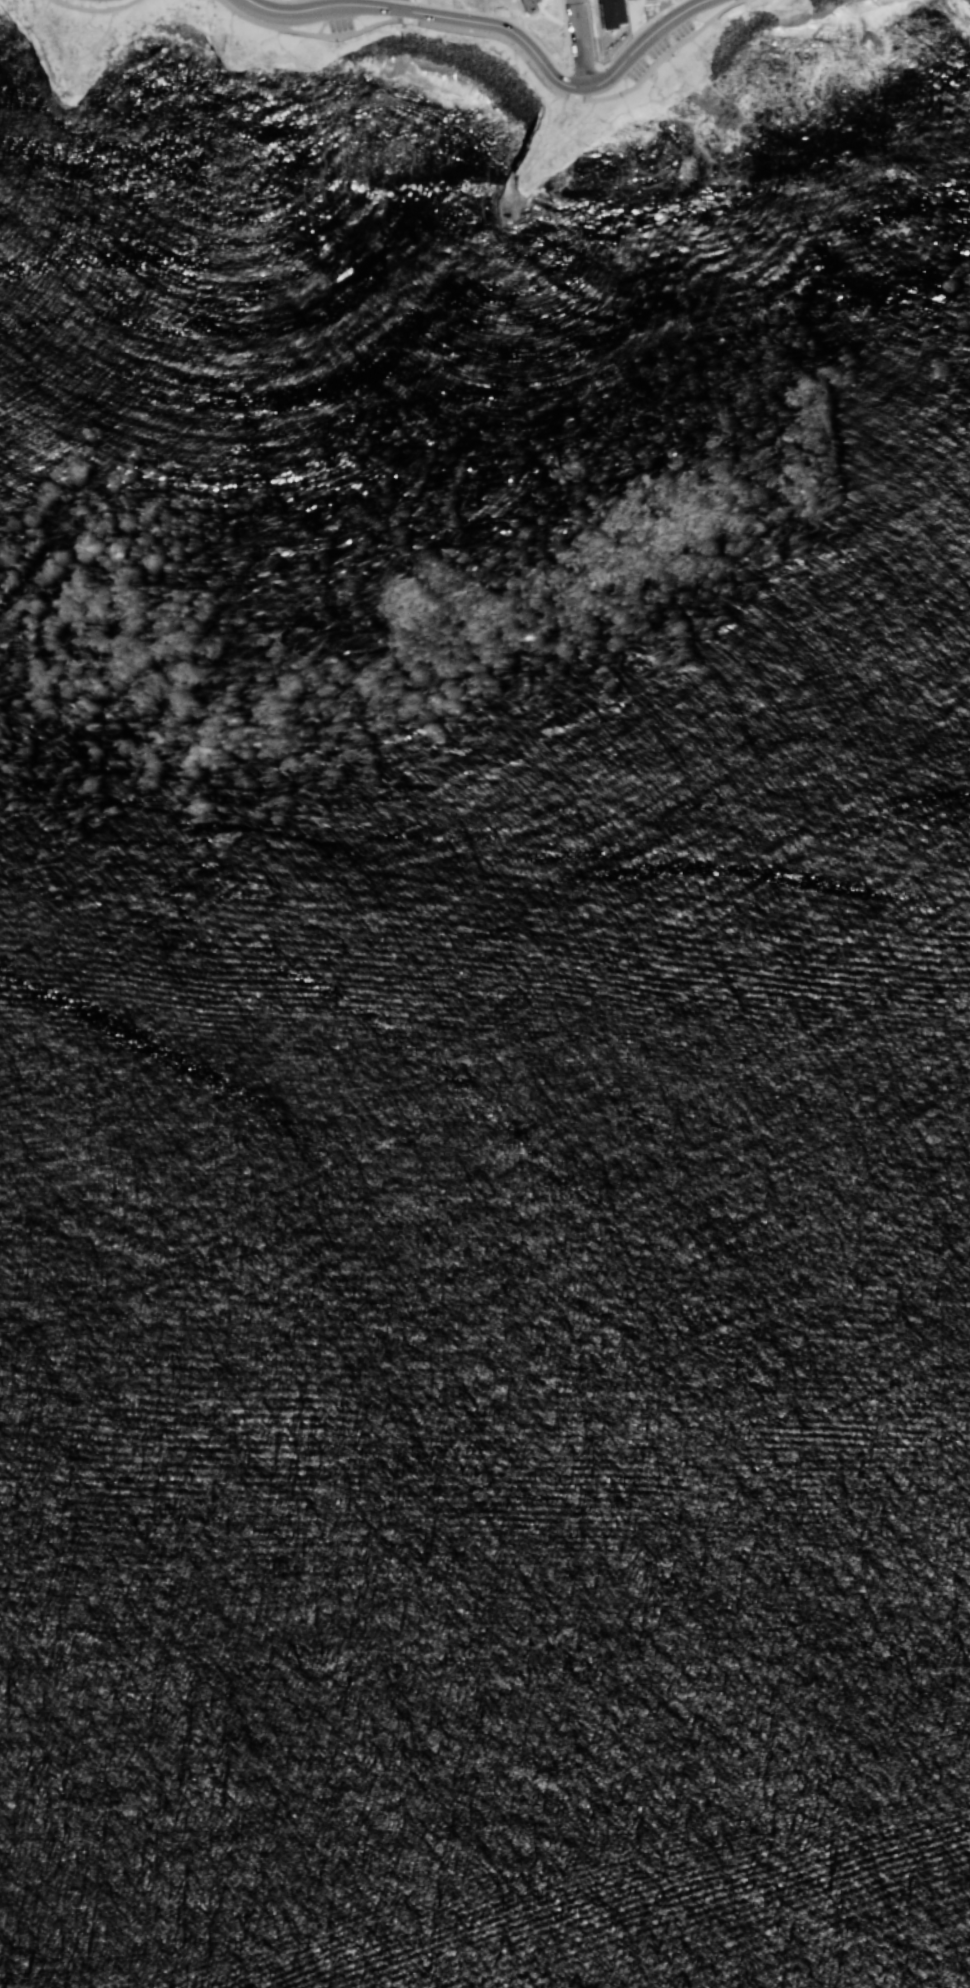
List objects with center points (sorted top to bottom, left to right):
building: (636, 0)
road: (289, 1)
road: (405, 2)
road: (397, 5)
building: (533, 5)
road: (95, 9)
road: (664, 11)
building: (611, 12)
road: (500, 18)
parking lot: (338, 23)
road: (504, 28)
road: (502, 36)
road: (567, 38)
road: (582, 43)
parking lot: (660, 49)

